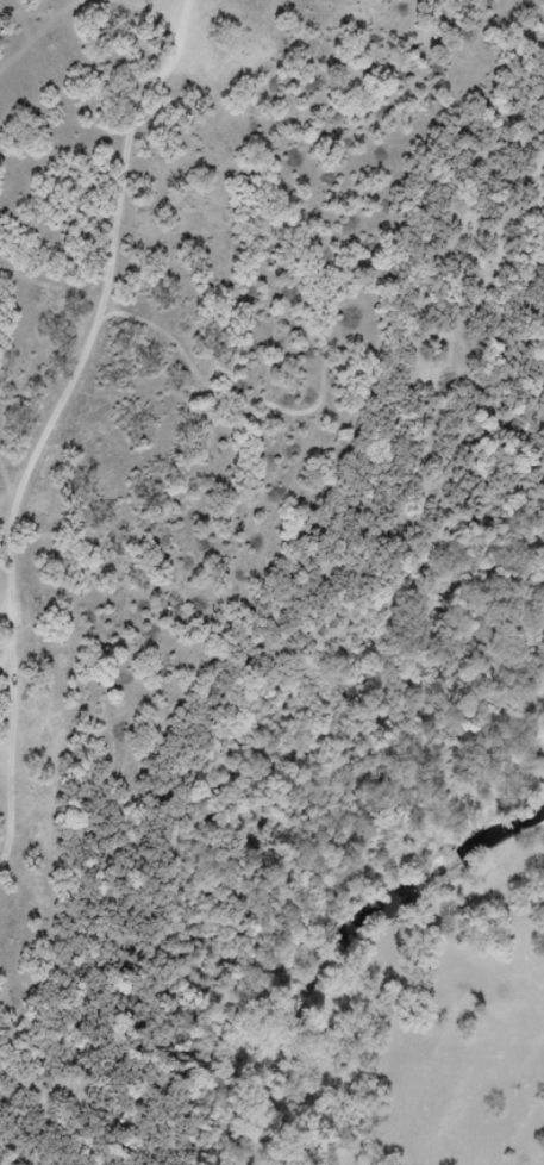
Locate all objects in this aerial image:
road: (57, 434)

